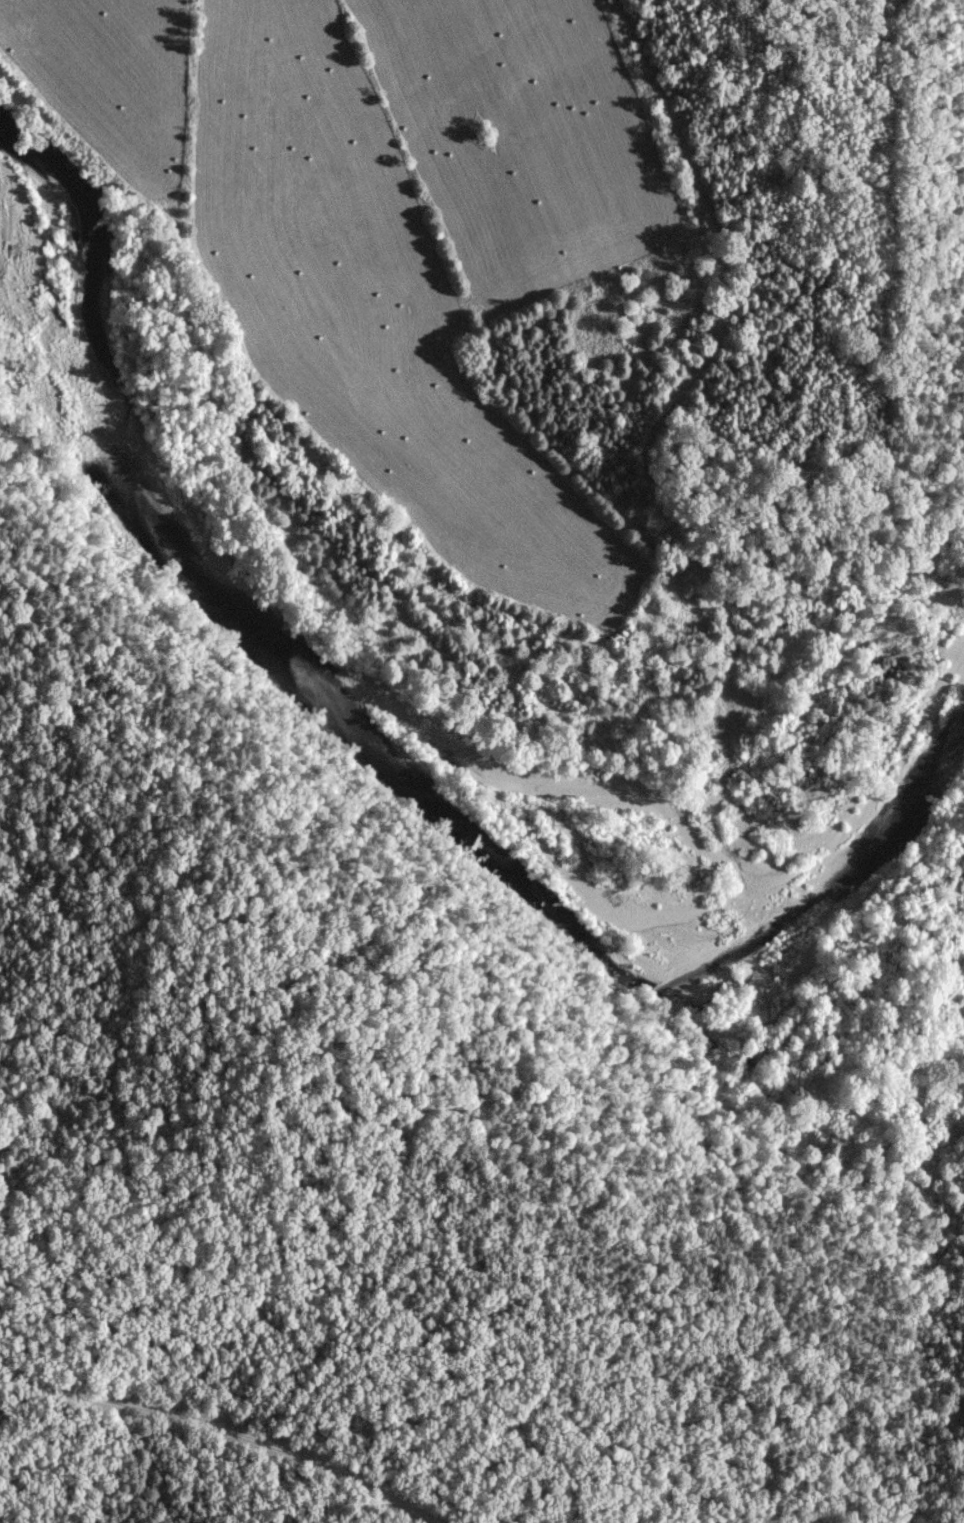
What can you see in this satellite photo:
road: (171, 1451)

